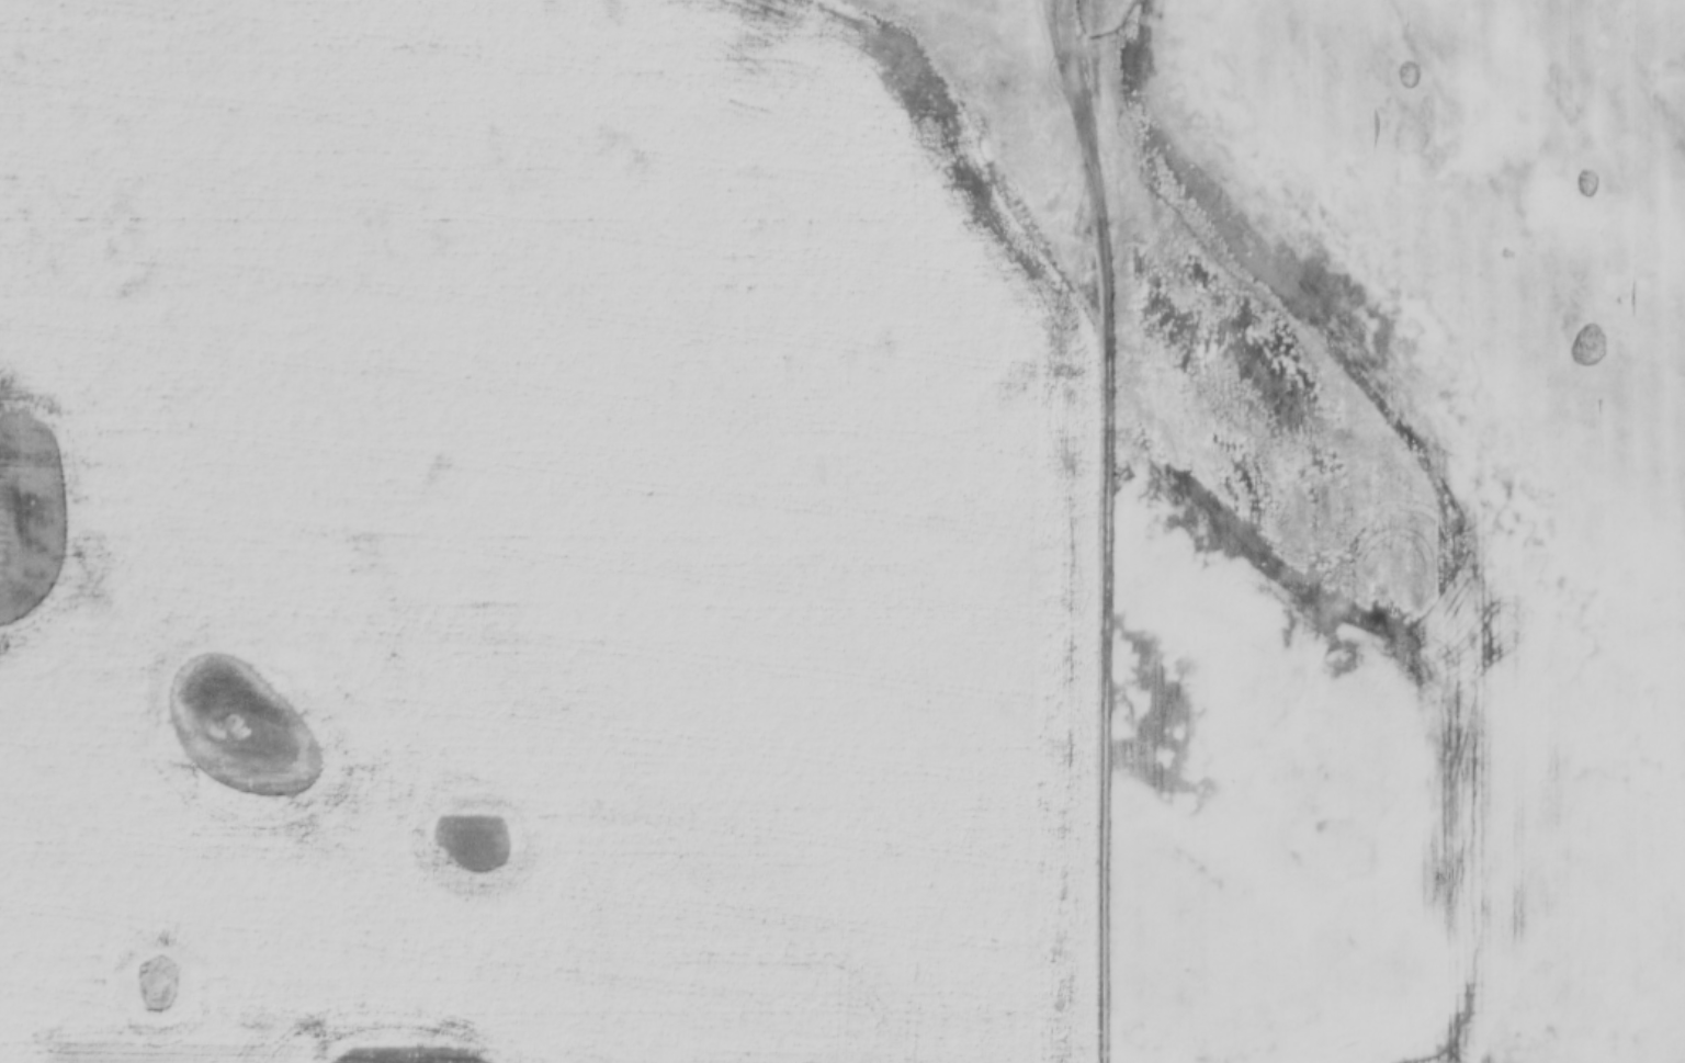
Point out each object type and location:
road: (1098, 531)

